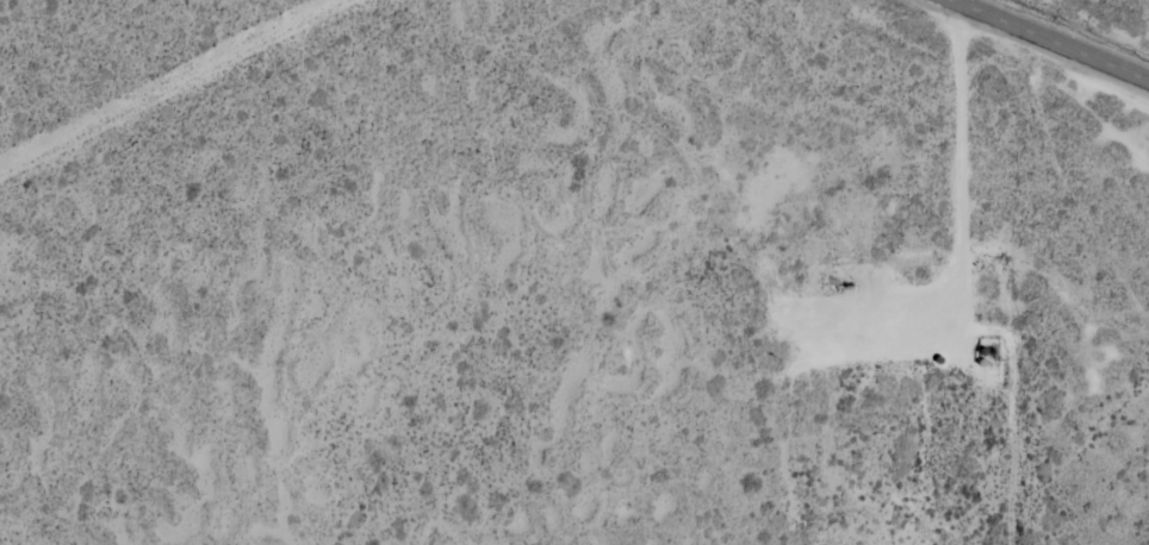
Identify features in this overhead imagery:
road: (1051, 40)

